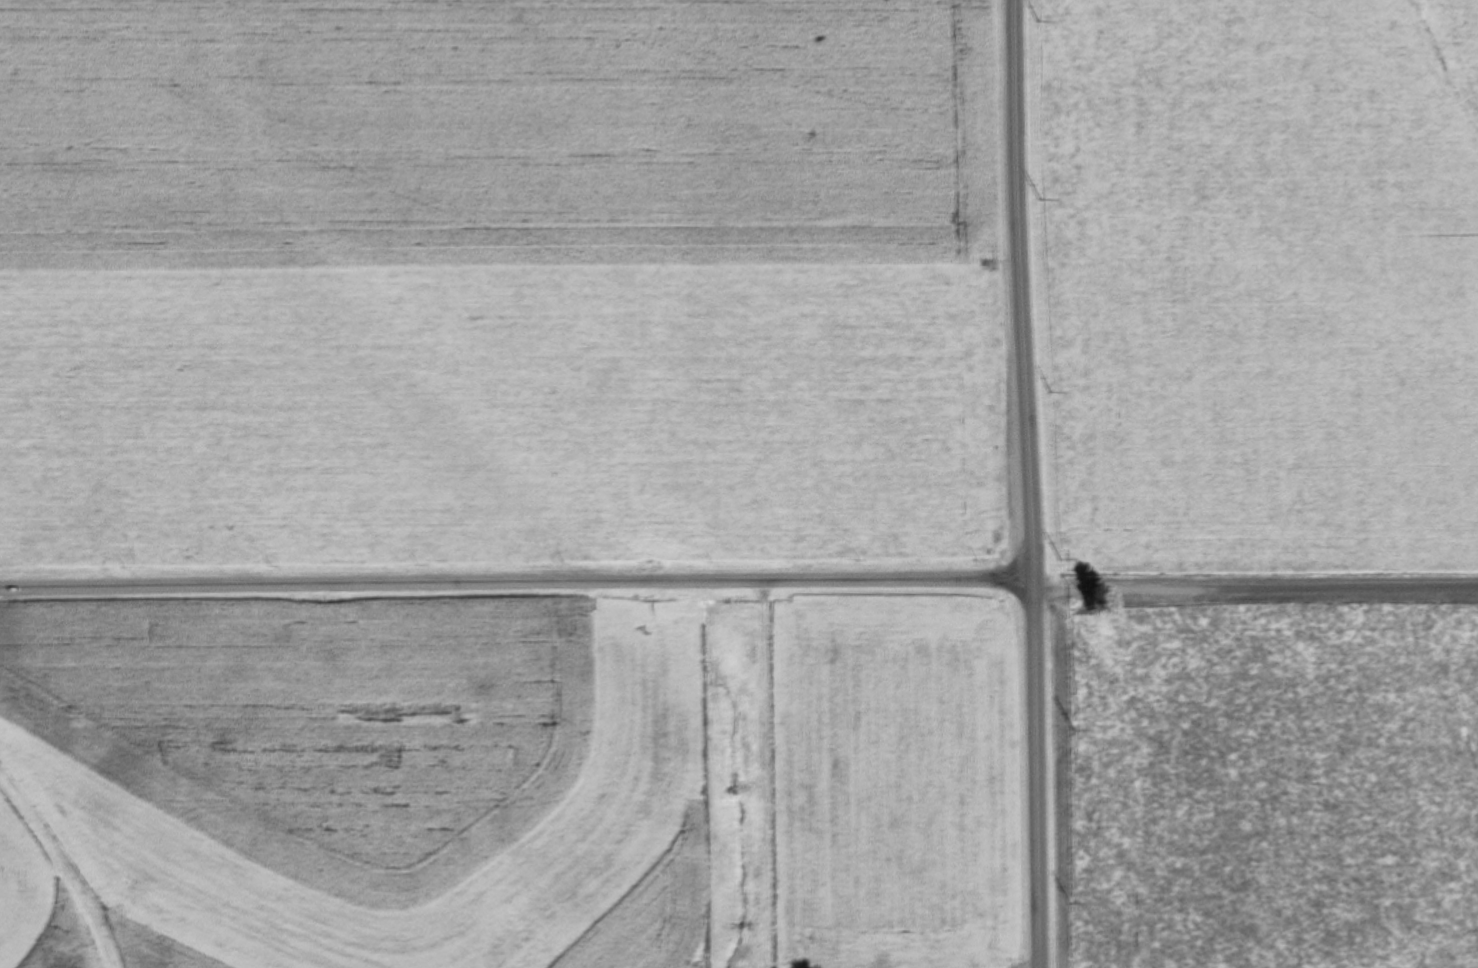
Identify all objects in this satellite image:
road: (1028, 483)
road: (516, 584)
road: (1255, 590)

